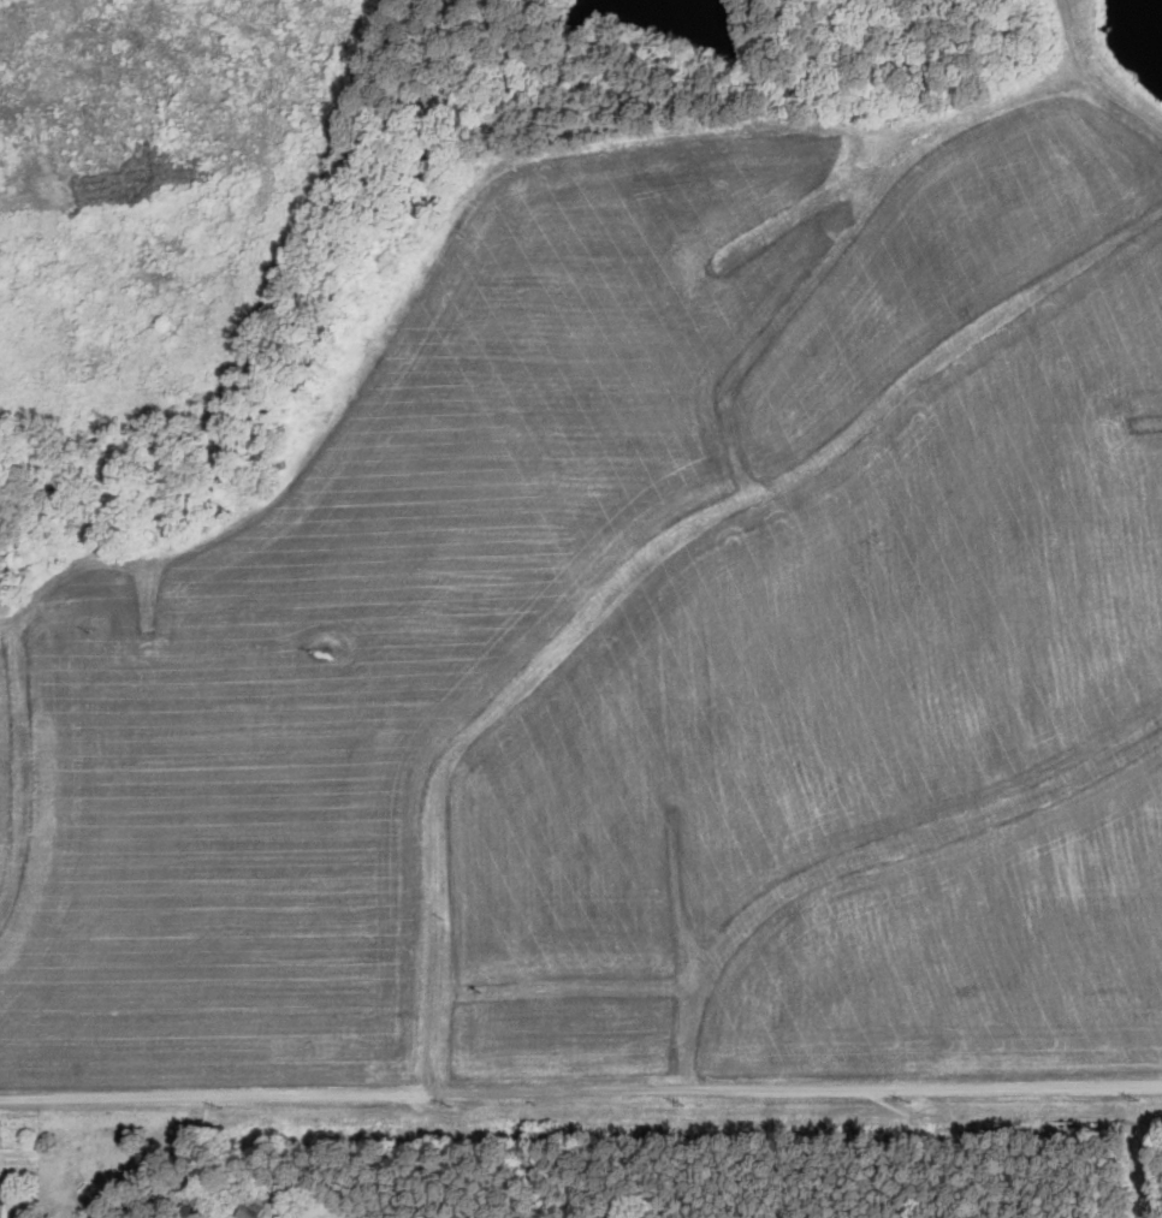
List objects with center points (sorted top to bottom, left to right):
building: (251, 1206)

